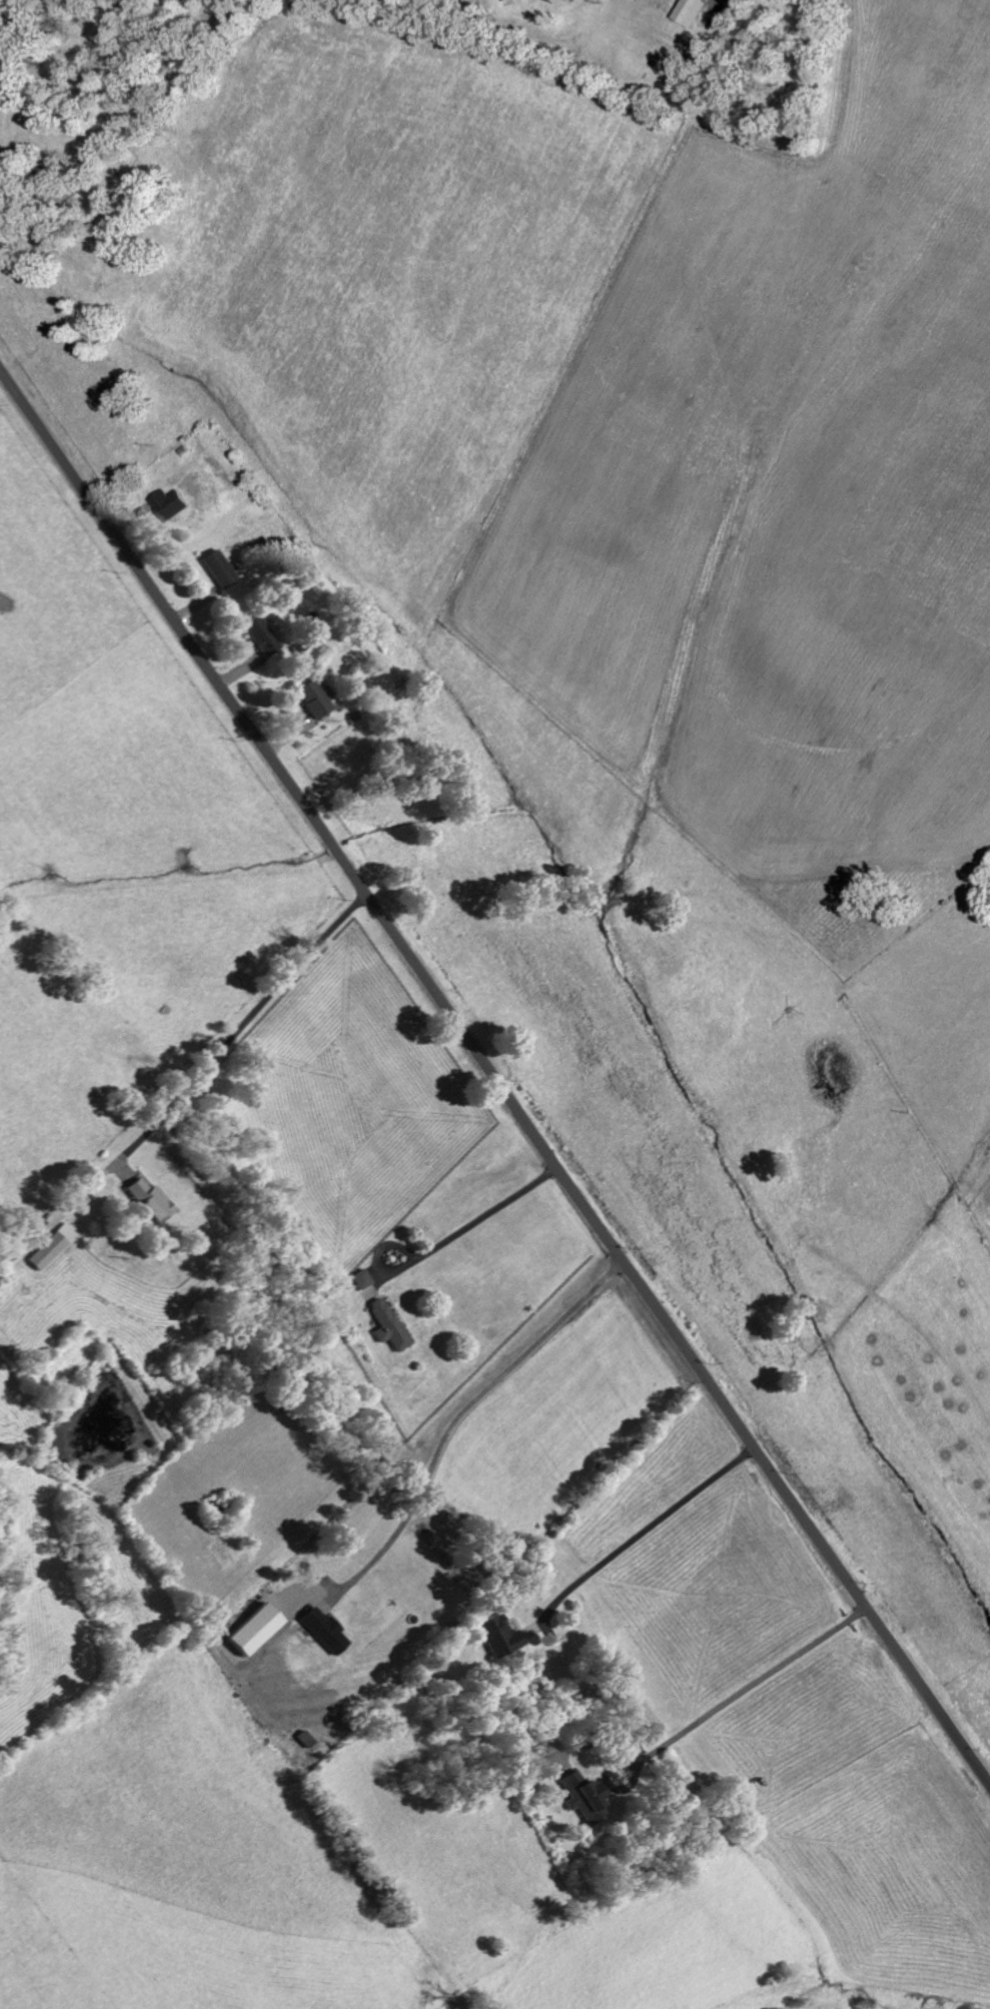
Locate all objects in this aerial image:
building: (691, 12)
building: (173, 505)
building: (218, 569)
building: (261, 638)
building: (312, 700)
road: (212, 1055)
road: (493, 1073)
building: (147, 1201)
road: (473, 1215)
building: (52, 1246)
building: (362, 1279)
building: (389, 1325)
road: (460, 1414)
road: (642, 1532)
building: (324, 1631)
building: (496, 1636)
road: (758, 1680)
building: (583, 1798)

